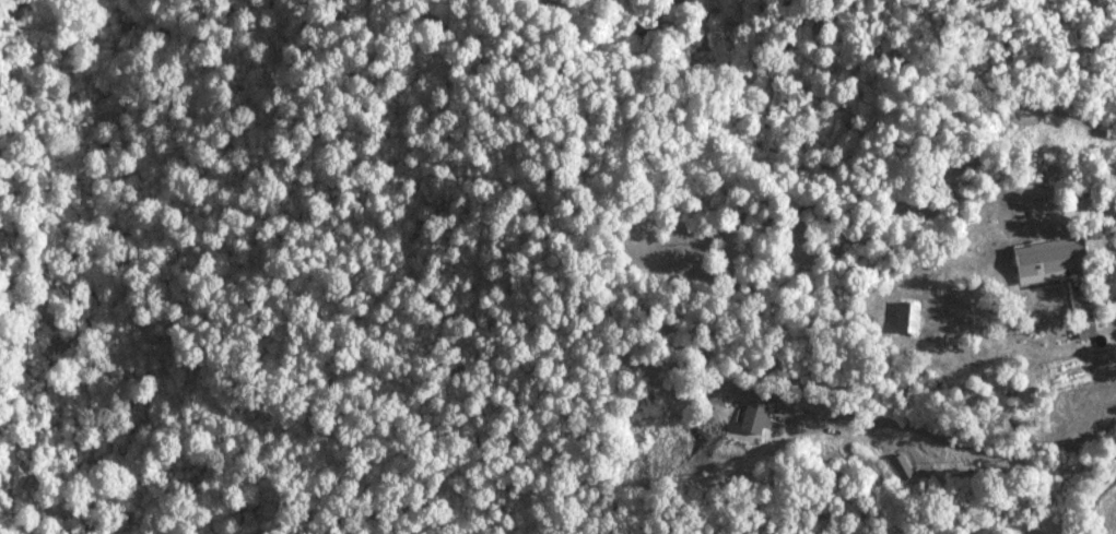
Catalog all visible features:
building: (1049, 261)
building: (754, 418)
building: (902, 466)
road: (1089, 500)

